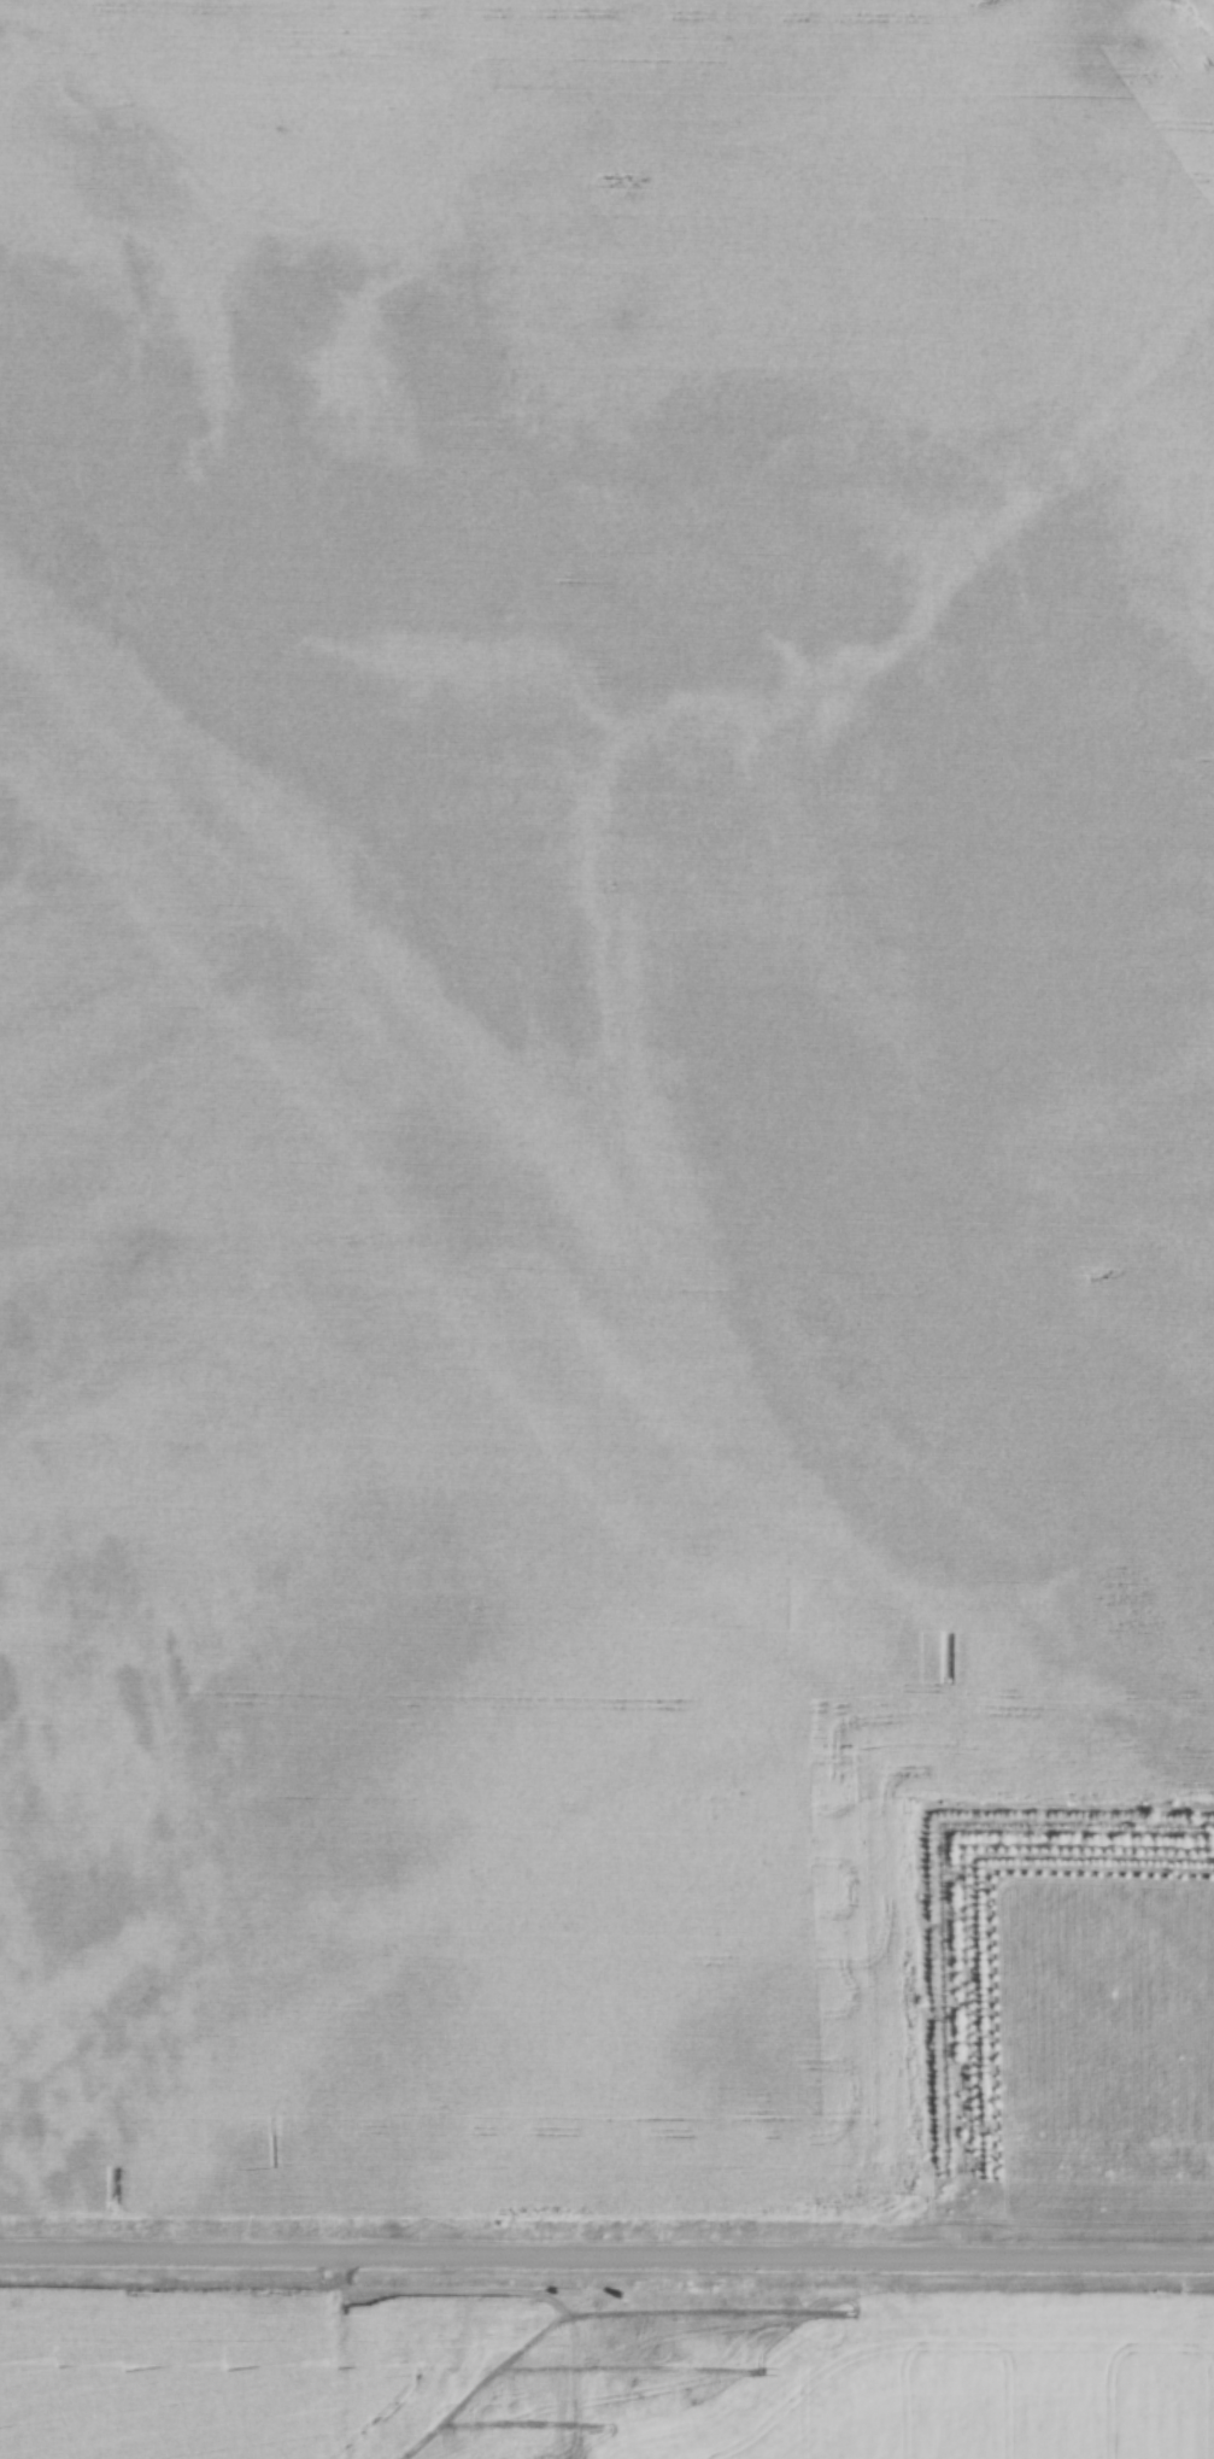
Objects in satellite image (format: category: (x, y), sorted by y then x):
road: (606, 2255)

